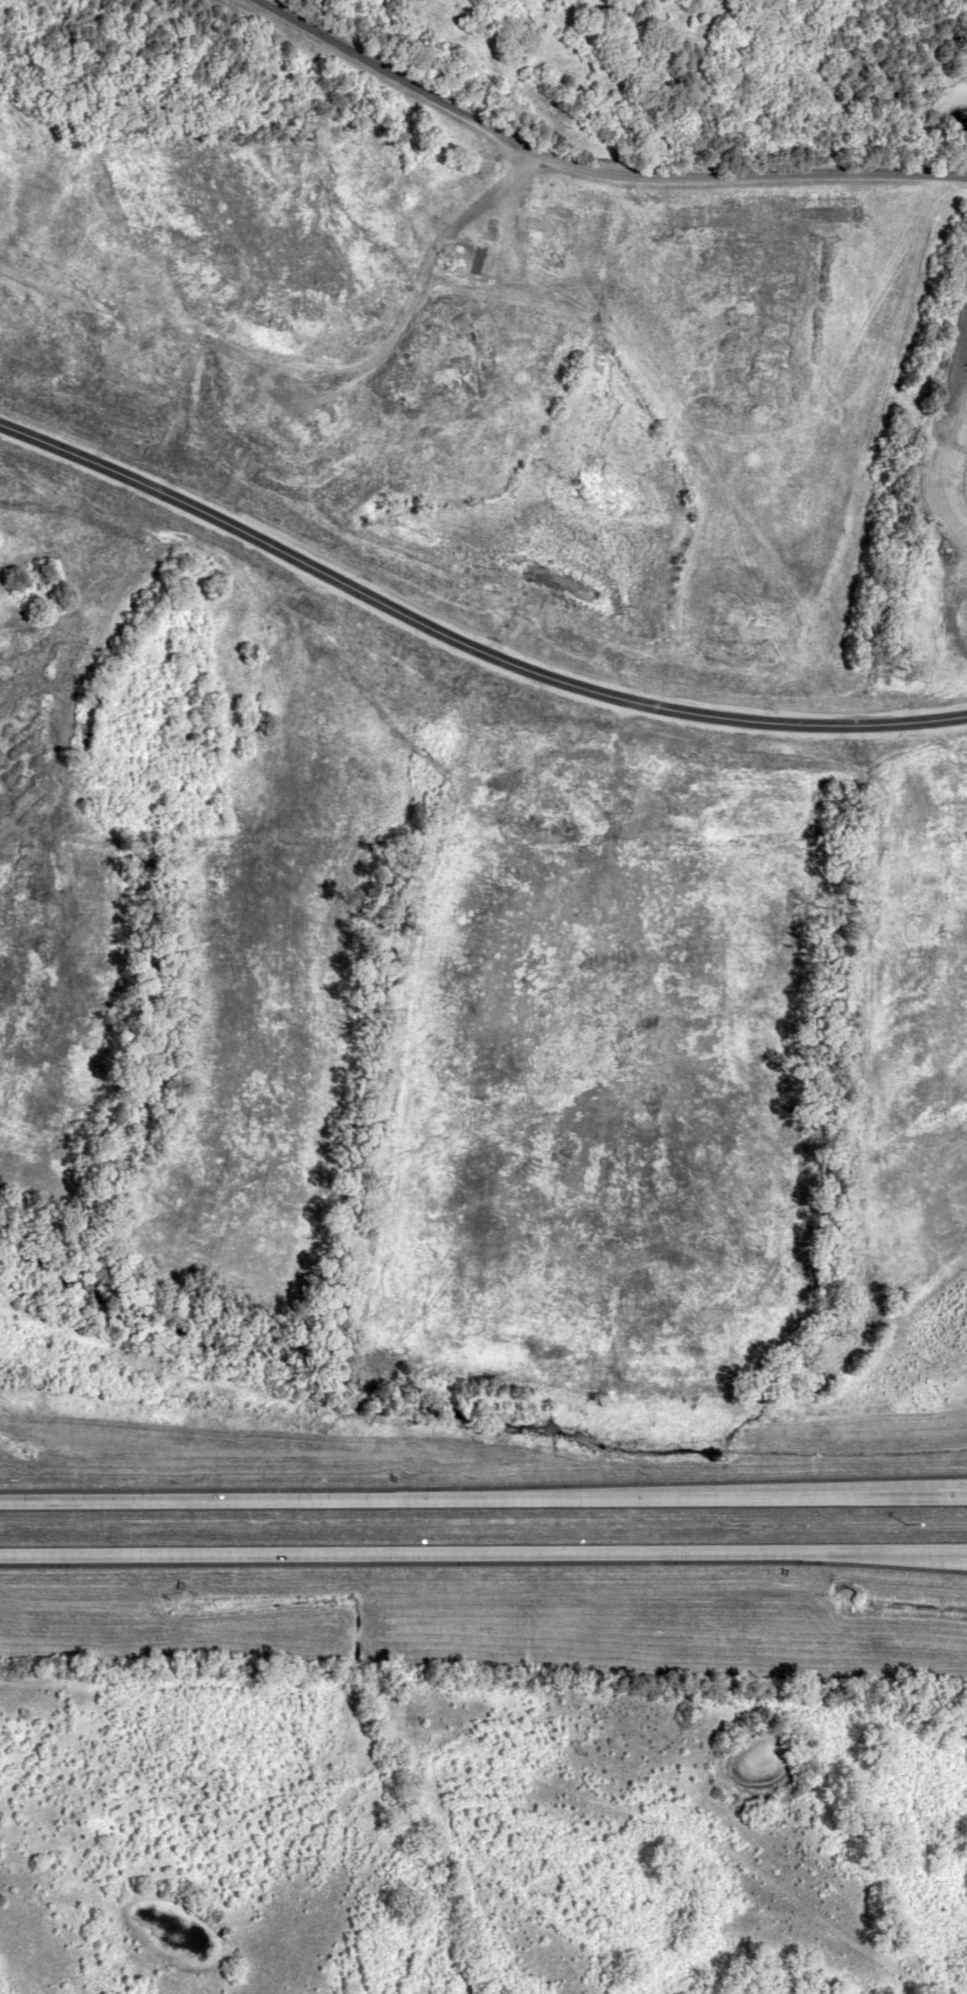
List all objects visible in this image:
road: (590, 166)
building: (548, 224)
building: (271, 655)
road: (483, 1495)
road: (483, 1557)
road: (915, 1558)
road: (555, 1758)

